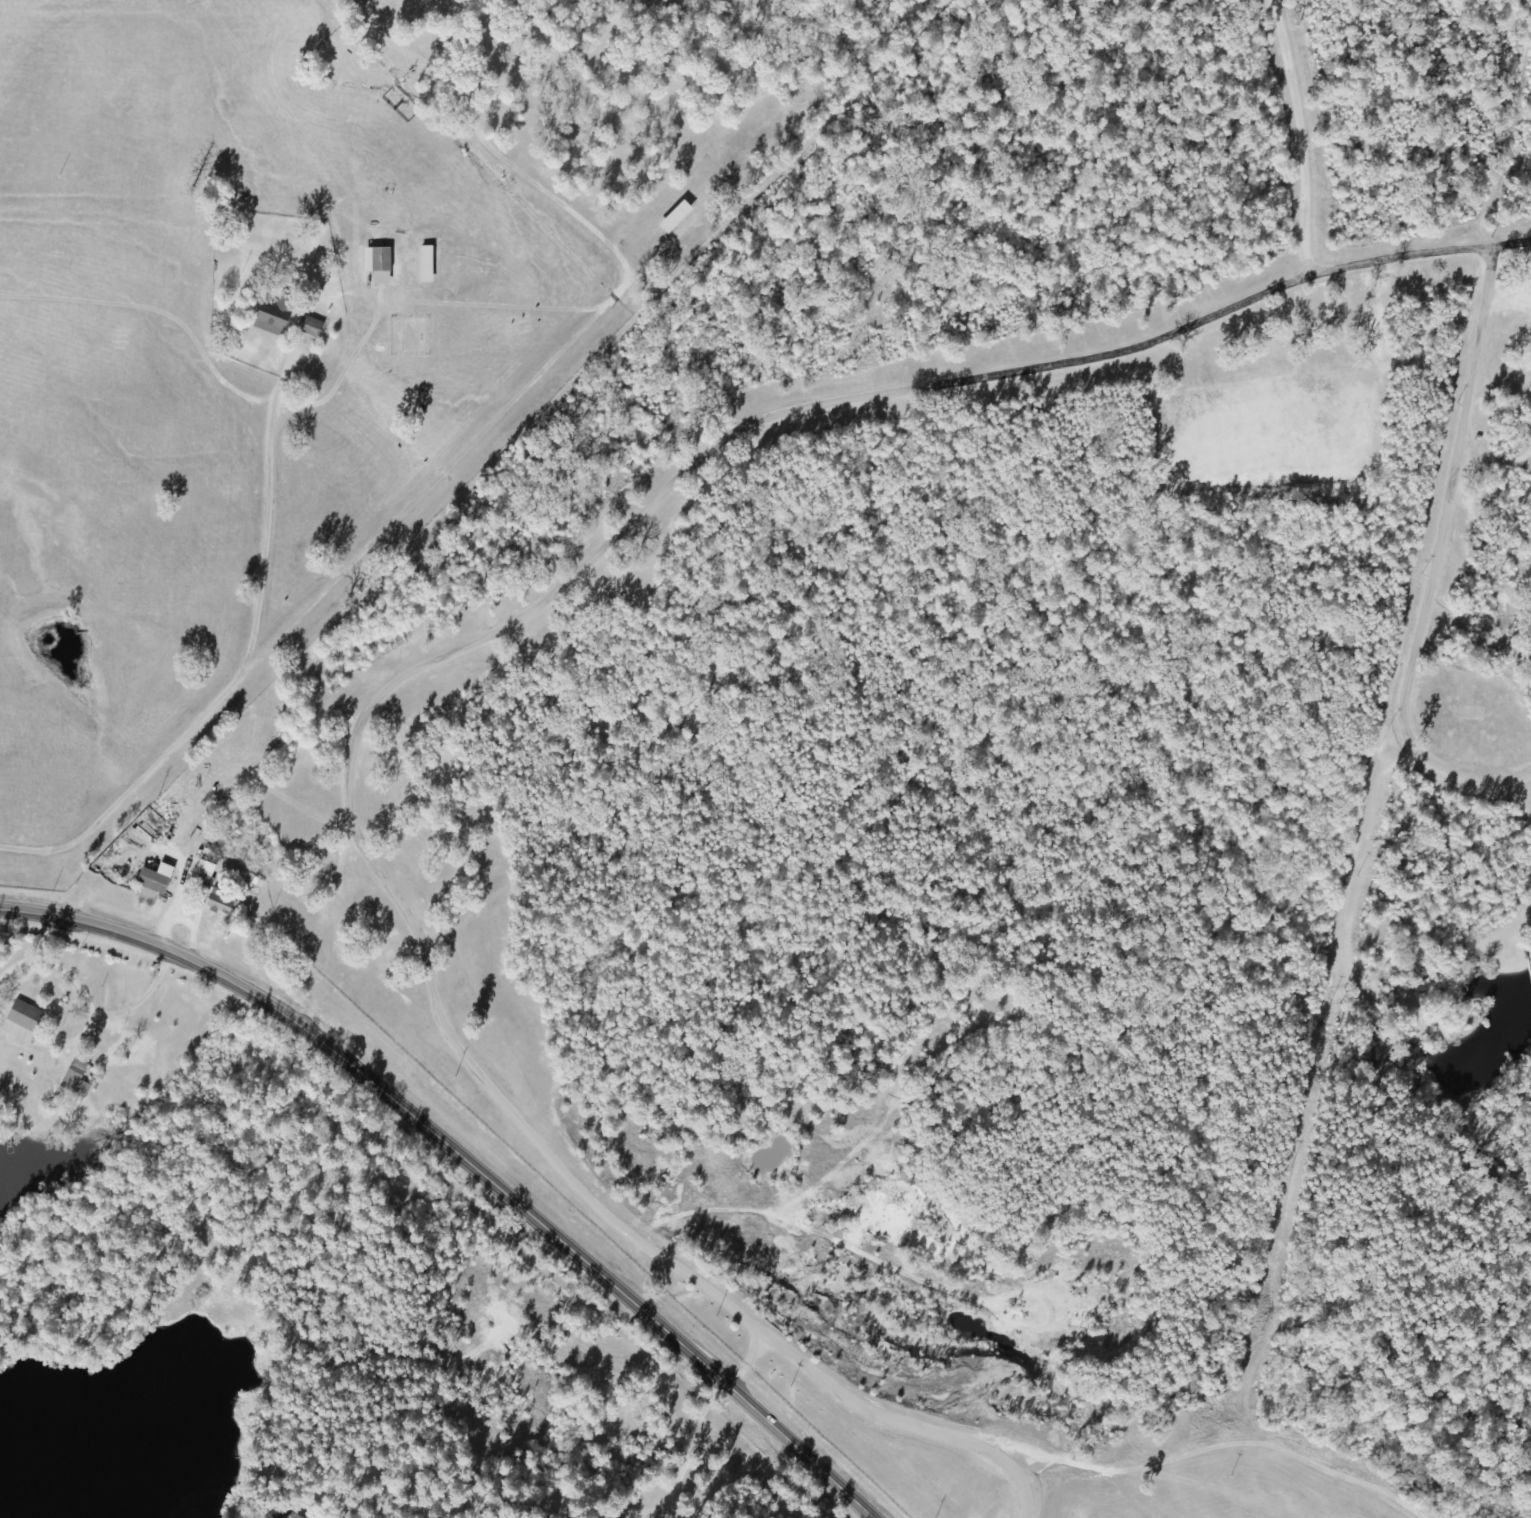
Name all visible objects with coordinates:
road: (1299, 136)
road: (1511, 243)
building: (379, 261)
road: (1506, 301)
building: (272, 316)
building: (307, 327)
road: (1430, 561)
road: (203, 643)
road: (410, 670)
building: (149, 886)
building: (218, 902)
building: (20, 1023)
building: (75, 1080)
road: (465, 1161)
road: (198, 1243)
road: (414, 1314)
road: (734, 1472)
building: (274, 1517)
building: (285, 1517)

